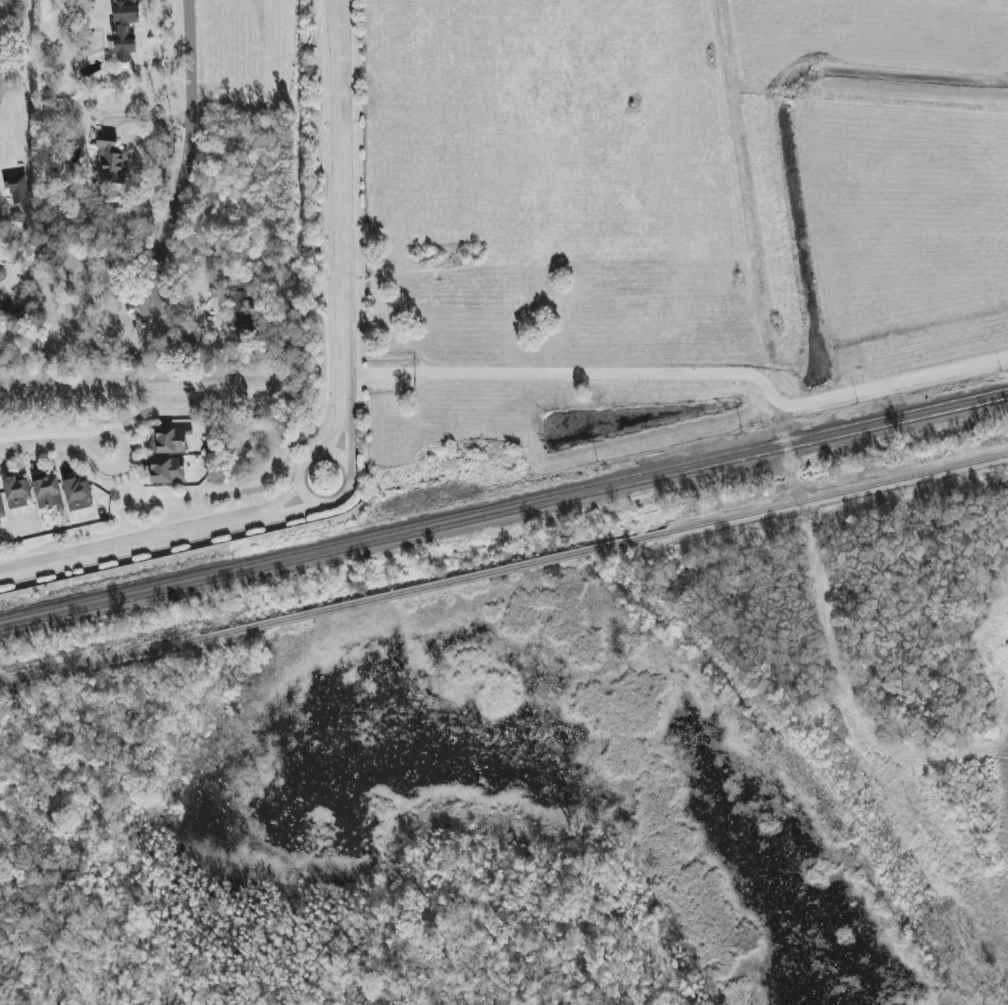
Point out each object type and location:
road: (333, 11)
road: (336, 11)
road: (873, 99)
road: (186, 151)
building: (111, 157)
road: (751, 188)
building: (18, 190)
road: (339, 213)
airport: (666, 219)
building: (236, 302)
road: (685, 373)
road: (236, 390)
road: (344, 410)
building: (168, 440)
road: (54, 445)
building: (166, 470)
road: (296, 474)
building: (16, 492)
building: (48, 493)
building: (77, 494)
railway: (504, 505)
building: (2, 510)
road: (276, 511)
railway: (504, 515)
road: (135, 540)
railway: (504, 572)

